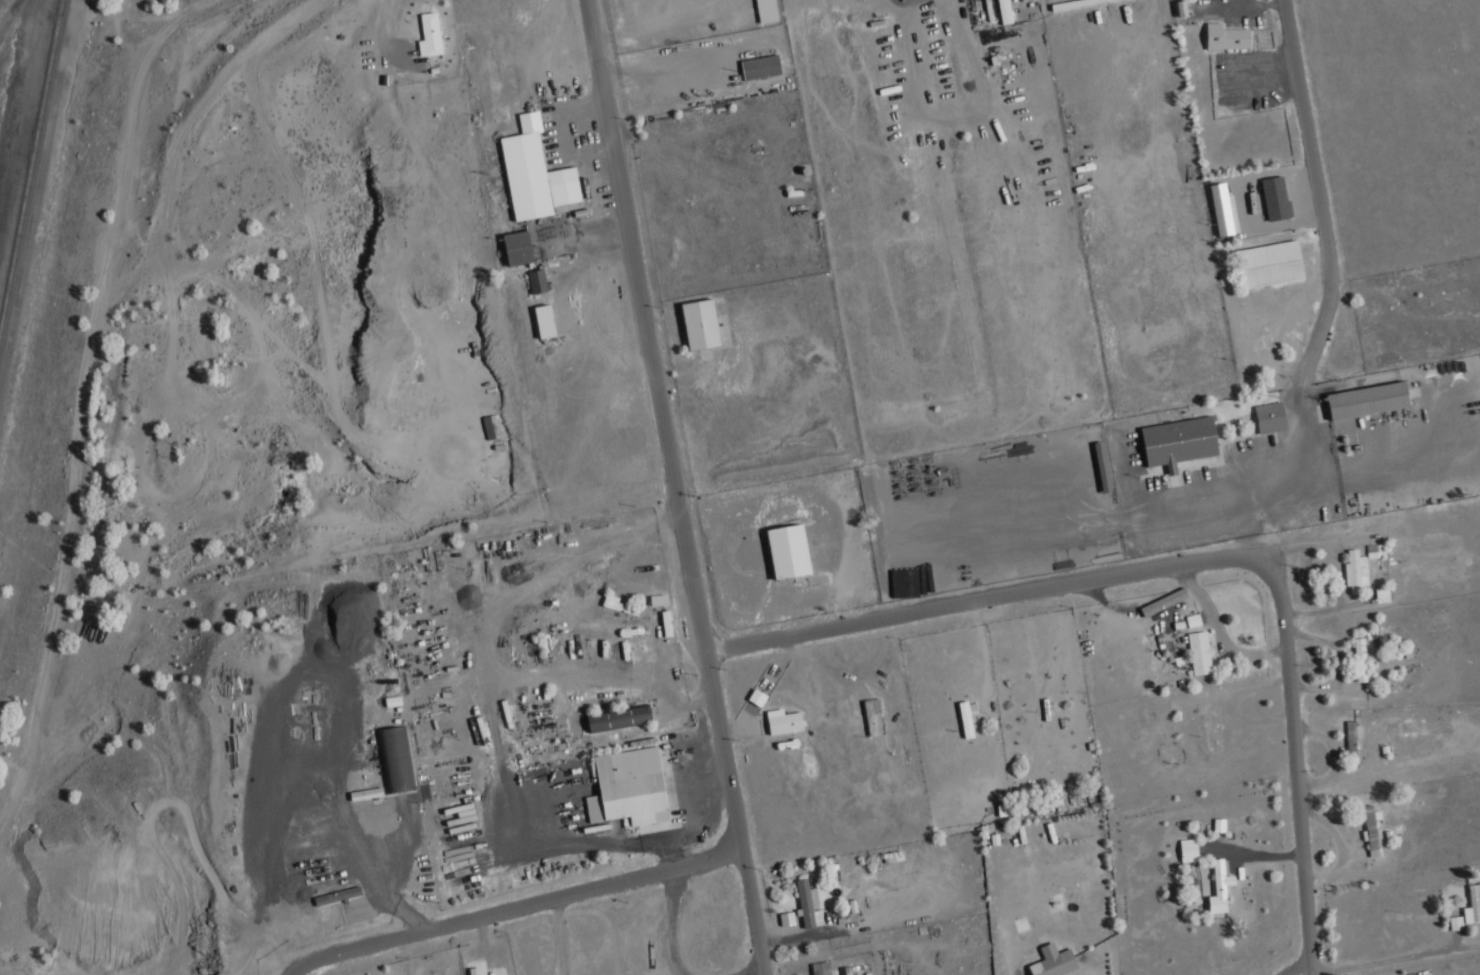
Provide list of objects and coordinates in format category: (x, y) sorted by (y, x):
building: (1057, 2)
building: (1171, 7)
building: (1182, 8)
building: (760, 9)
building: (996, 10)
building: (1005, 11)
road: (4, 13)
road: (282, 25)
building: (430, 34)
building: (1217, 34)
building: (754, 64)
road: (276, 138)
railway: (29, 151)
road: (182, 156)
building: (534, 173)
building: (1268, 196)
building: (1212, 206)
building: (1222, 209)
building: (517, 248)
road: (224, 256)
building: (1262, 261)
building: (537, 281)
road: (1332, 287)
building: (544, 321)
building: (692, 321)
building: (1359, 398)
building: (1262, 414)
building: (490, 425)
building: (1171, 438)
road: (454, 457)
building: (1094, 463)
road: (675, 487)
building: (780, 549)
building: (1376, 550)
road: (73, 556)
building: (1356, 570)
building: (903, 578)
building: (1383, 594)
building: (658, 599)
road: (980, 600)
building: (617, 604)
building: (1193, 619)
road: (1223, 623)
building: (1200, 652)
building: (1361, 659)
building: (757, 697)
building: (619, 718)
building: (966, 718)
building: (784, 721)
building: (1353, 736)
building: (395, 758)
road: (1288, 766)
building: (628, 787)
building: (366, 793)
building: (1004, 809)
building: (1219, 824)
building: (1189, 849)
road: (378, 862)
building: (1220, 887)
building: (337, 895)
building: (807, 902)
building: (1473, 904)
road: (513, 906)
building: (786, 918)
road: (673, 922)
road: (566, 935)
road: (1388, 955)
building: (1054, 961)
building: (821, 968)
road: (1297, 969)
building: (474, 970)
road: (754, 971)

